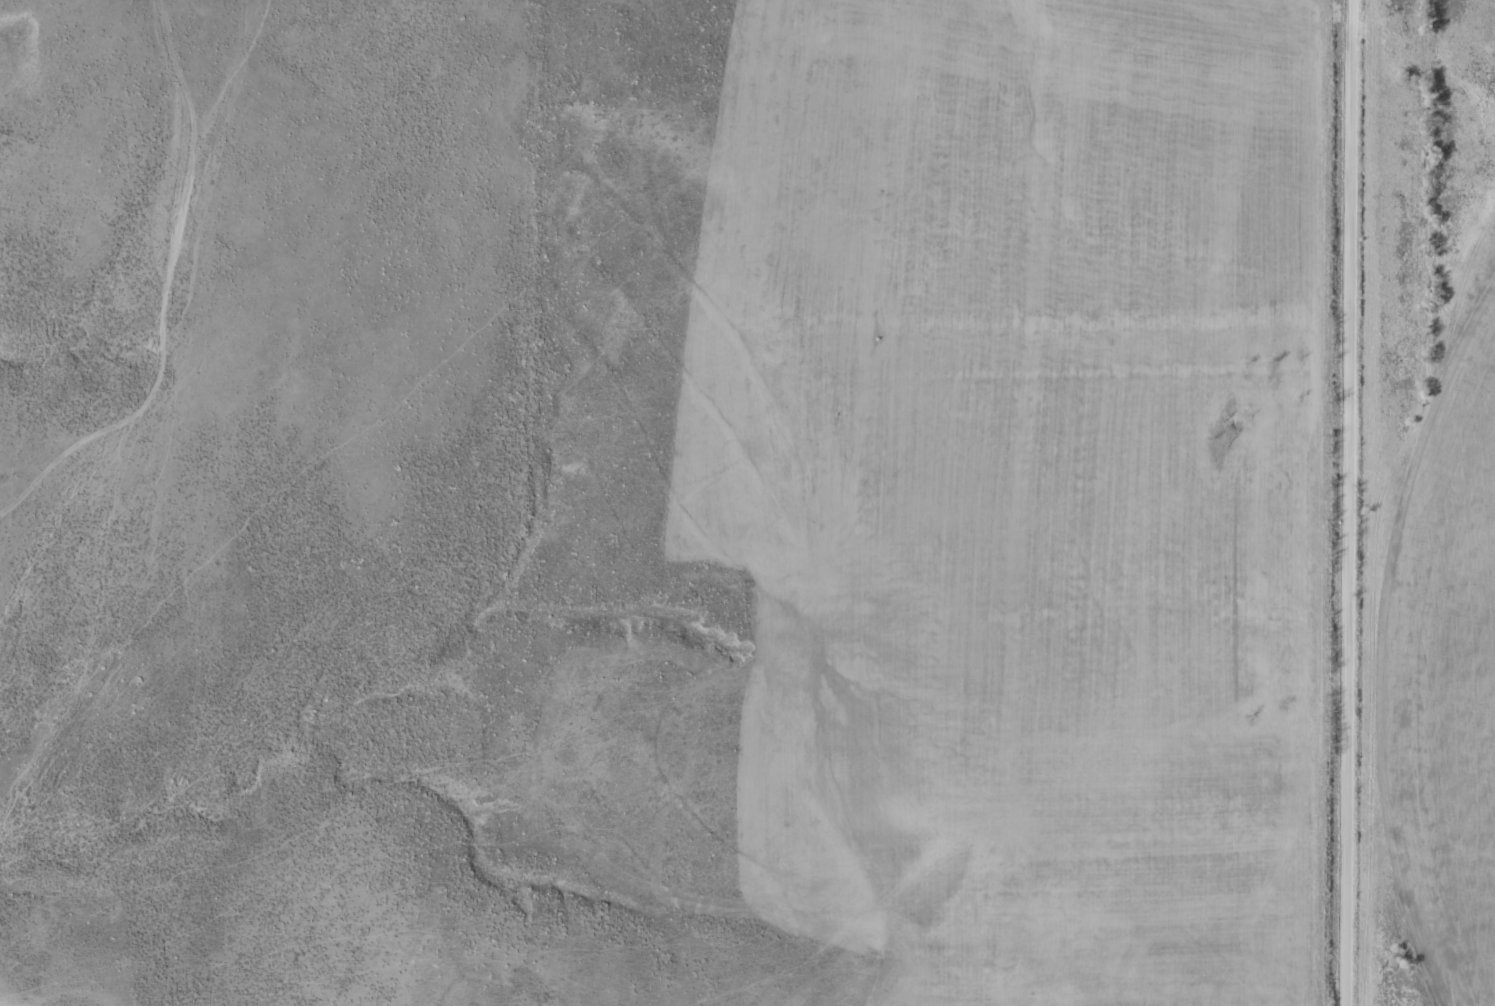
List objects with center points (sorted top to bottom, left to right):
road: (1344, 503)

